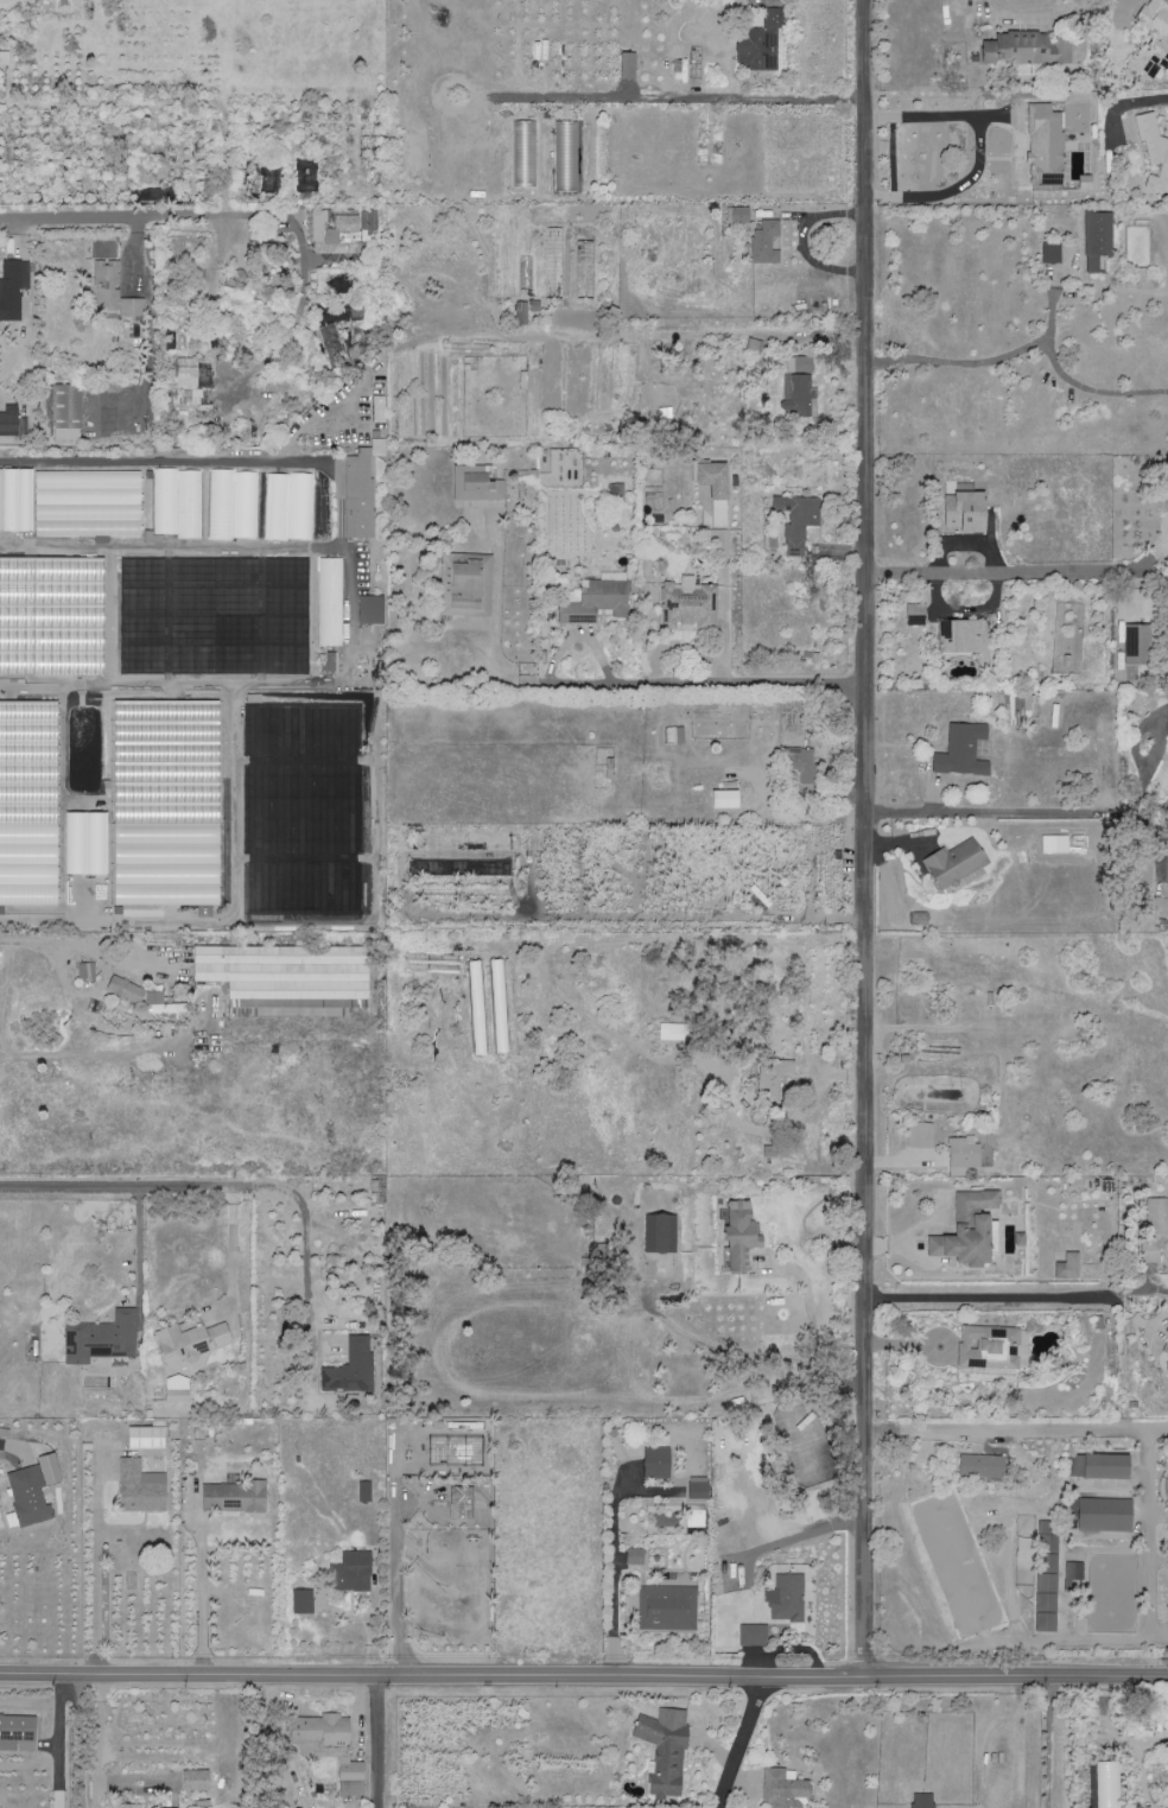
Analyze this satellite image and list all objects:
road: (1029, 18)
building: (1028, 49)
building: (4, 58)
road: (680, 100)
road: (1122, 104)
road: (979, 148)
building: (1154, 151)
building: (563, 158)
building: (305, 177)
building: (252, 183)
road: (147, 215)
building: (738, 216)
building: (12, 288)
building: (267, 293)
building: (118, 300)
building: (521, 313)
road: (1047, 325)
building: (332, 345)
road: (1028, 345)
building: (186, 385)
building: (377, 410)
building: (12, 423)
road: (167, 464)
building: (475, 484)
building: (360, 490)
building: (15, 500)
building: (177, 503)
building: (87, 505)
building: (233, 505)
building: (287, 507)
road: (243, 546)
road: (1003, 572)
building: (462, 584)
building: (593, 602)
building: (329, 603)
building: (363, 610)
road: (493, 628)
building: (1137, 646)
building: (0, 661)
building: (329, 662)
road: (713, 686)
road: (171, 689)
building: (963, 751)
building: (28, 804)
building: (166, 805)
road: (1002, 811)
road: (870, 839)
building: (84, 843)
building: (957, 862)
road: (69, 945)
building: (85, 972)
building: (290, 978)
building: (126, 990)
building: (475, 1000)
building: (164, 1005)
building: (497, 1007)
road: (121, 1053)
road: (231, 1187)
building: (973, 1227)
building: (743, 1235)
road: (139, 1261)
road: (235, 1261)
road: (990, 1299)
road: (808, 1308)
building: (101, 1339)
building: (191, 1341)
building: (1166, 1349)
road: (751, 1357)
building: (351, 1369)
building: (1167, 1369)
building: (177, 1389)
road: (1018, 1432)
building: (146, 1438)
road: (15, 1448)
building: (1100, 1466)
building: (140, 1489)
building: (33, 1490)
building: (364, 1491)
building: (235, 1497)
building: (1105, 1515)
building: (351, 1573)
road: (611, 1584)
road: (400, 1586)
building: (787, 1599)
building: (303, 1603)
road: (203, 1604)
road: (99, 1606)
road: (583, 1679)
building: (322, 1731)
building: (18, 1734)
road: (56, 1742)
road: (81, 1742)
road: (379, 1743)
road: (1048, 1744)
road: (742, 1745)
building: (666, 1750)
building: (351, 1770)
building: (196, 1781)
building: (783, 1790)
building: (127, 1806)

